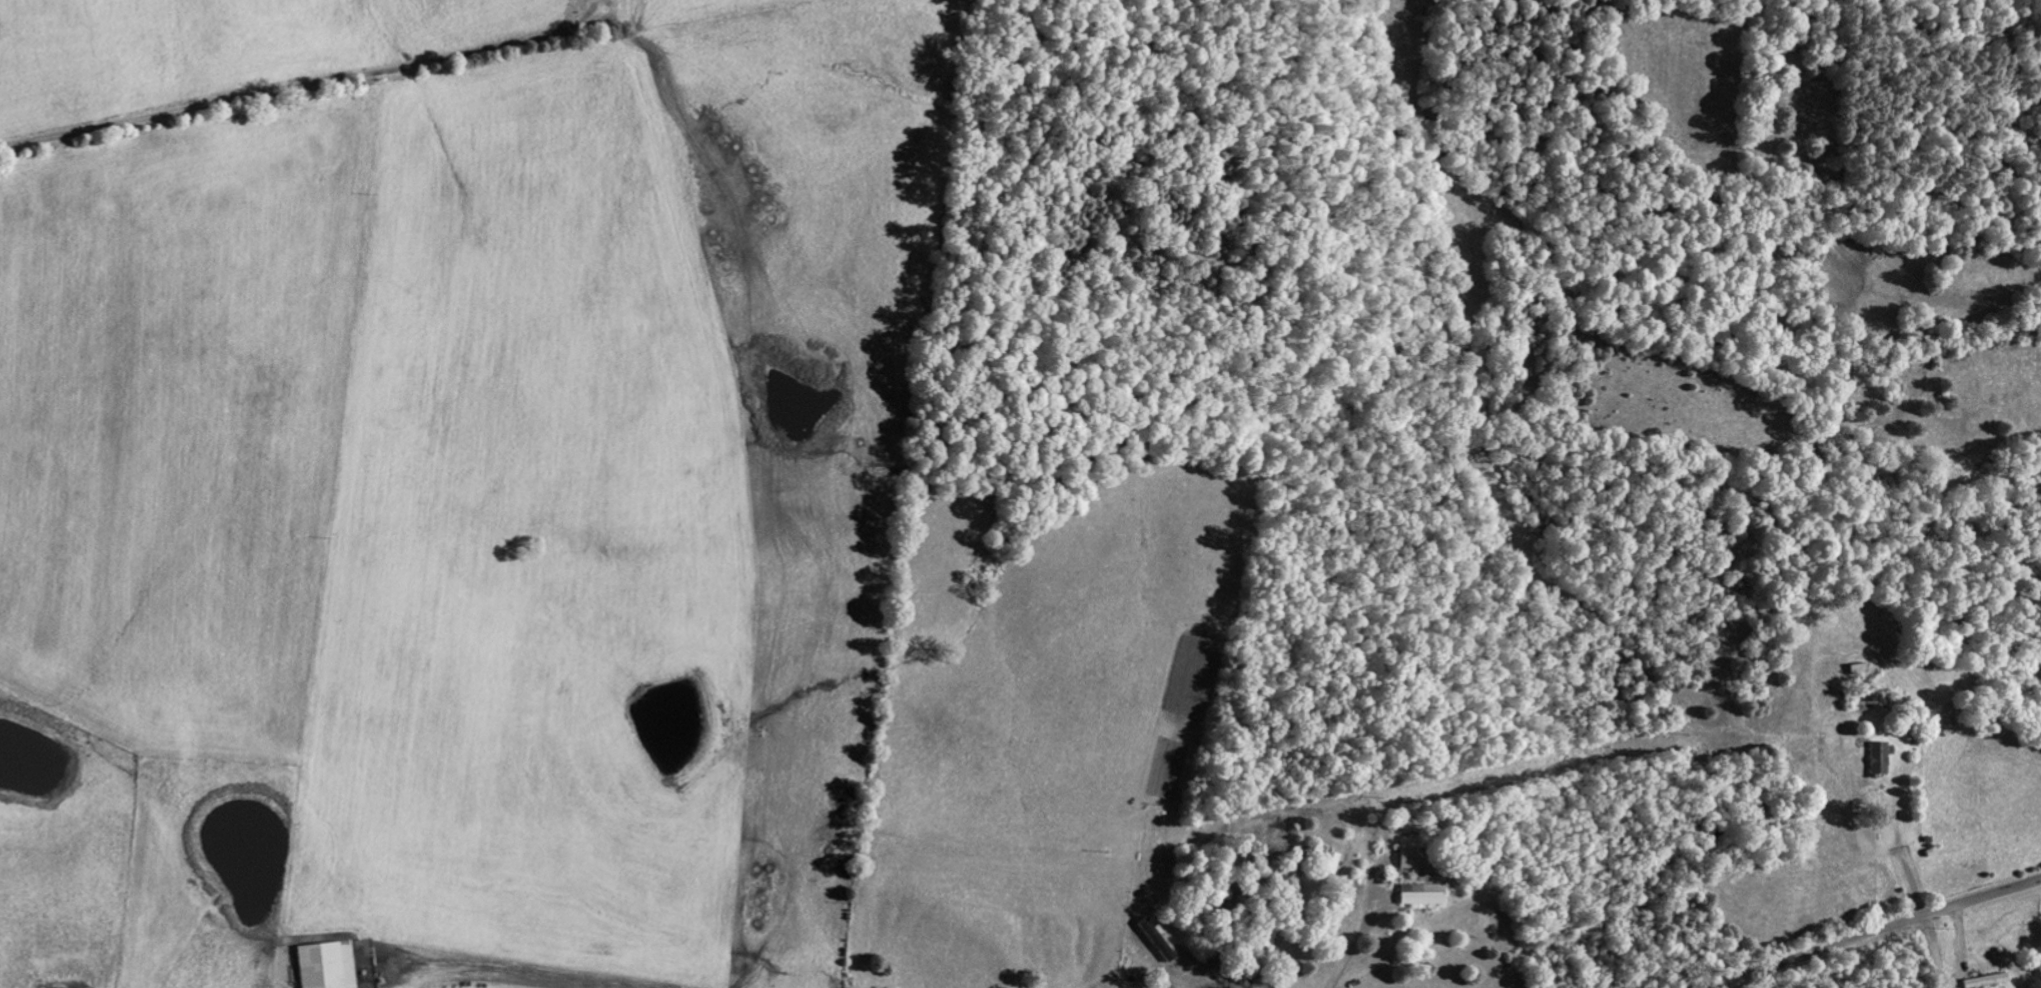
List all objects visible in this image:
road: (321, 102)
building: (1880, 757)
building: (1411, 852)
building: (1421, 894)
road: (1873, 934)
building: (1156, 940)
road: (1945, 950)
building: (325, 965)
building: (1984, 980)

